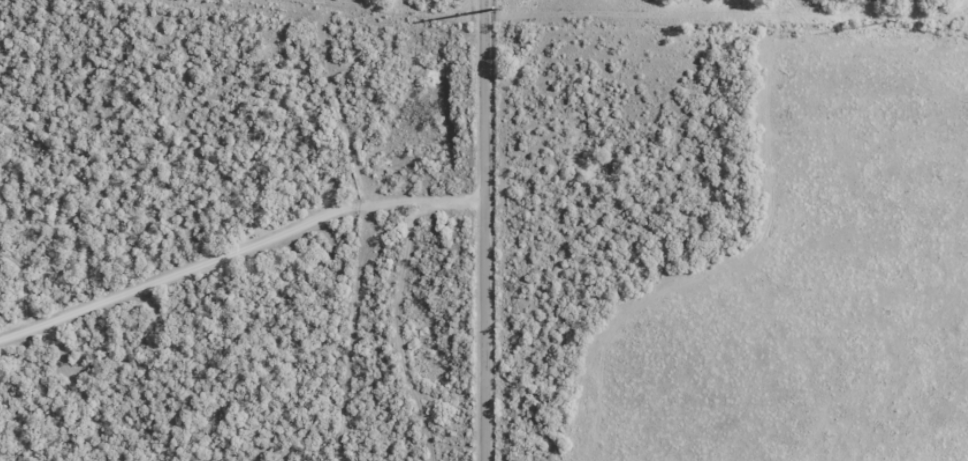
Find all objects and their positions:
power tower: (500, 8)
road: (298, 20)
power tower: (896, 20)
road: (485, 230)
road: (238, 250)

